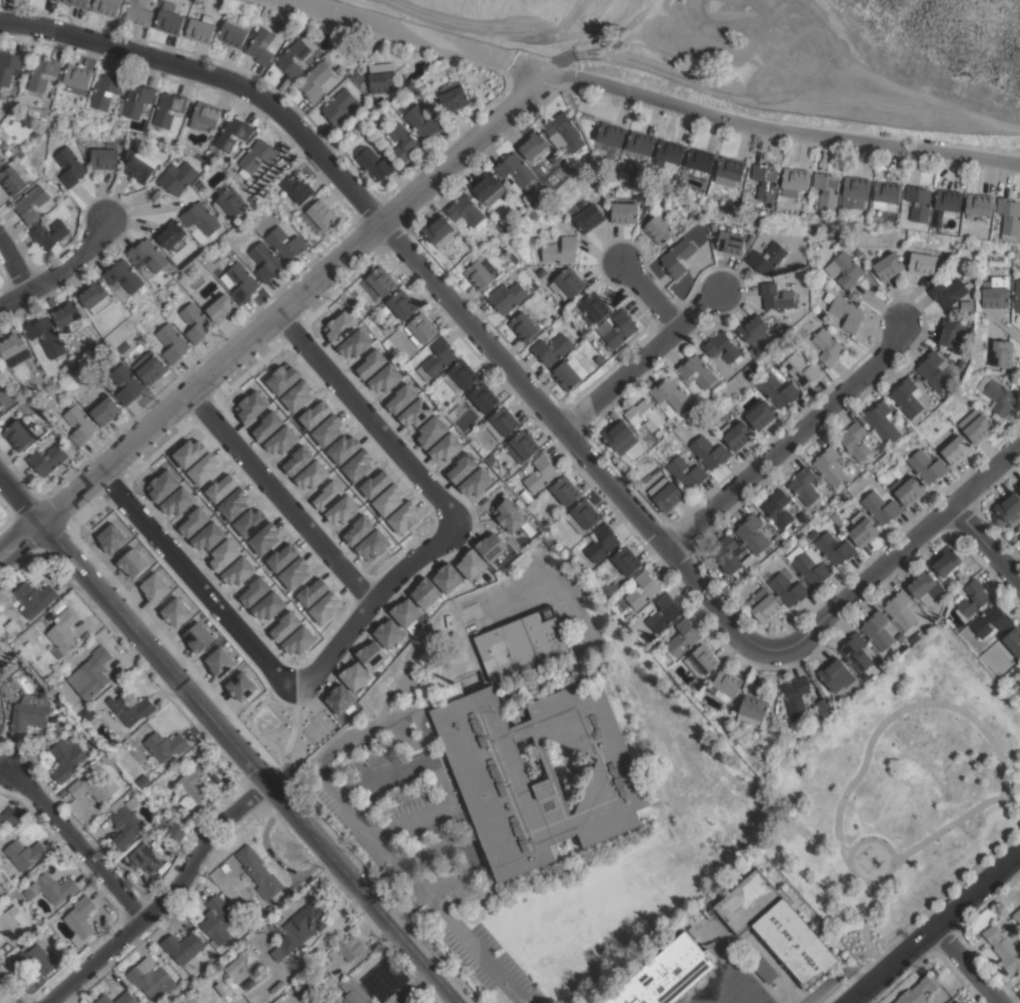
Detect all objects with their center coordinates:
building: (56, 0)
building: (77, 3)
building: (106, 7)
building: (221, 8)
building: (138, 12)
building: (169, 20)
building: (200, 28)
building: (232, 35)
road: (623, 38)
building: (260, 47)
building: (293, 57)
road: (560, 62)
building: (11, 66)
building: (43, 72)
building: (79, 79)
building: (315, 80)
building: (382, 82)
road: (882, 82)
building: (106, 90)
building: (453, 96)
road: (653, 97)
building: (137, 99)
building: (340, 107)
building: (169, 111)
building: (205, 116)
building: (434, 120)
building: (584, 120)
building: (563, 132)
building: (230, 135)
building: (610, 138)
building: (403, 141)
building: (640, 144)
building: (534, 146)
building: (669, 152)
building: (105, 157)
building: (257, 157)
building: (374, 162)
building: (699, 162)
building: (0, 163)
building: (138, 165)
building: (69, 166)
building: (666, 168)
building: (516, 169)
building: (729, 170)
building: (177, 176)
building: (13, 177)
building: (766, 181)
building: (794, 181)
building: (299, 188)
building: (488, 188)
building: (827, 189)
building: (547, 191)
building: (855, 191)
building: (886, 194)
building: (919, 202)
building: (231, 204)
building: (22, 205)
building: (946, 205)
building: (978, 206)
building: (624, 210)
building: (465, 211)
building: (586, 215)
building: (319, 216)
building: (201, 218)
building: (1009, 218)
building: (658, 229)
building: (439, 230)
building: (49, 233)
building: (172, 234)
building: (730, 242)
building: (285, 243)
building: (560, 250)
building: (858, 252)
building: (150, 255)
building: (677, 257)
building: (767, 257)
building: (265, 261)
building: (922, 263)
road: (15, 266)
building: (488, 266)
building: (888, 266)
building: (844, 268)
road: (58, 271)
road: (426, 274)
building: (124, 275)
building: (479, 275)
building: (250, 282)
building: (569, 282)
building: (379, 283)
building: (947, 291)
building: (995, 292)
road: (650, 295)
building: (96, 297)
building: (506, 297)
building: (776, 297)
building: (1016, 297)
road: (296, 298)
building: (362, 299)
building: (402, 304)
building: (966, 305)
building: (221, 308)
building: (593, 308)
building: (855, 315)
building: (69, 316)
building: (812, 319)
building: (195, 322)
building: (523, 326)
building: (779, 327)
building: (421, 328)
building: (617, 329)
building: (752, 329)
building: (949, 333)
building: (46, 336)
building: (172, 342)
building: (827, 345)
building: (123, 346)
building: (722, 347)
building: (14, 348)
building: (552, 348)
building: (1002, 353)
building: (63, 357)
building: (437, 359)
road: (641, 360)
building: (962, 362)
building: (149, 367)
building: (934, 370)
building: (696, 371)
building: (802, 371)
building: (569, 372)
building: (750, 373)
building: (461, 376)
building: (1010, 380)
building: (126, 383)
building: (778, 390)
building: (671, 393)
building: (997, 395)
building: (484, 397)
building: (907, 397)
building: (2, 400)
building: (105, 410)
building: (730, 413)
building: (761, 414)
building: (644, 415)
road: (370, 417)
building: (501, 422)
building: (883, 423)
building: (79, 424)
building: (976, 425)
building: (737, 434)
building: (17, 435)
building: (619, 436)
road: (789, 439)
building: (854, 440)
building: (522, 445)
building: (956, 450)
building: (708, 452)
building: (47, 459)
building: (491, 459)
building: (927, 466)
building: (830, 467)
building: (505, 470)
building: (684, 471)
building: (540, 472)
building: (876, 481)
building: (803, 485)
building: (1018, 486)
building: (907, 489)
building: (565, 490)
building: (668, 497)
road: (22, 499)
building: (880, 507)
building: (1006, 508)
building: (778, 509)
building: (583, 515)
building: (836, 518)
building: (862, 529)
building: (752, 534)
building: (799, 534)
building: (813, 534)
road: (986, 542)
road: (22, 543)
building: (599, 544)
road: (325, 548)
building: (834, 548)
road: (899, 550)
building: (727, 554)
building: (626, 560)
building: (945, 561)
building: (754, 563)
building: (809, 564)
building: (757, 584)
building: (786, 586)
building: (924, 586)
building: (642, 589)
building: (28, 597)
building: (973, 597)
building: (763, 605)
building: (900, 609)
building: (547, 612)
building: (663, 612)
building: (991, 621)
building: (10, 626)
road: (236, 629)
building: (877, 630)
building: (62, 632)
building: (900, 636)
building: (682, 638)
building: (914, 638)
building: (1013, 640)
building: (520, 645)
building: (0, 648)
building: (855, 652)
building: (701, 660)
building: (1, 665)
building: (94, 673)
building: (835, 674)
building: (1018, 678)
building: (725, 684)
building: (8, 685)
building: (795, 693)
building: (57, 700)
building: (825, 706)
building: (127, 709)
building: (752, 710)
building: (28, 712)
building: (0, 713)
building: (87, 715)
building: (52, 717)
building: (73, 725)
building: (1, 728)
building: (810, 730)
building: (90, 745)
building: (165, 745)
building: (43, 749)
building: (66, 759)
building: (775, 759)
road: (250, 764)
road: (436, 772)
park: (912, 775)
building: (494, 781)
building: (193, 784)
building: (93, 787)
building: (161, 809)
building: (8, 817)
building: (127, 823)
building: (160, 824)
building: (176, 831)
road: (380, 844)
road: (77, 846)
building: (24, 854)
building: (146, 857)
building: (225, 867)
building: (259, 871)
building: (16, 879)
building: (0, 888)
building: (52, 888)
road: (167, 900)
road: (428, 900)
building: (1016, 914)
building: (80, 917)
building: (217, 919)
building: (14, 922)
building: (776, 925)
building: (301, 927)
road: (935, 930)
road: (315, 945)
building: (183, 946)
building: (347, 947)
building: (1003, 948)
road: (476, 951)
building: (35, 959)
building: (240, 964)
road: (969, 966)
building: (667, 973)
building: (382, 979)
building: (152, 980)
building: (329, 980)
road: (412, 986)
building: (919, 990)
building: (355, 991)
building: (117, 998)
building: (171, 998)
road: (1, 1000)
building: (249, 1002)
building: (955, 1002)
building: (958, 1002)

